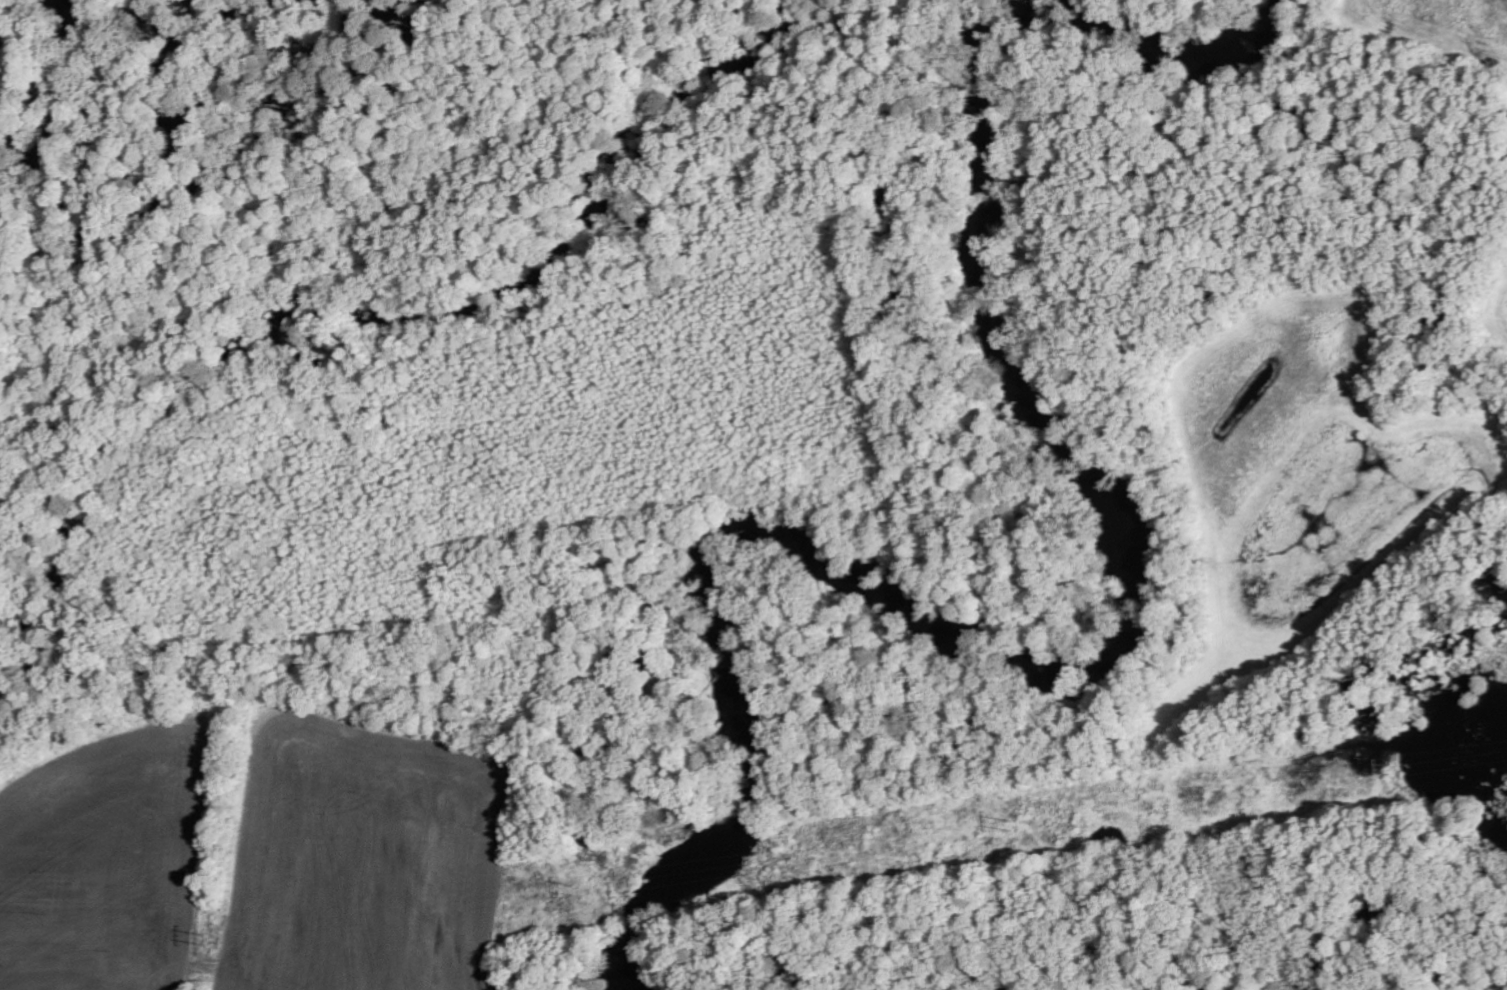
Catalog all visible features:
river: (1133, 627)

